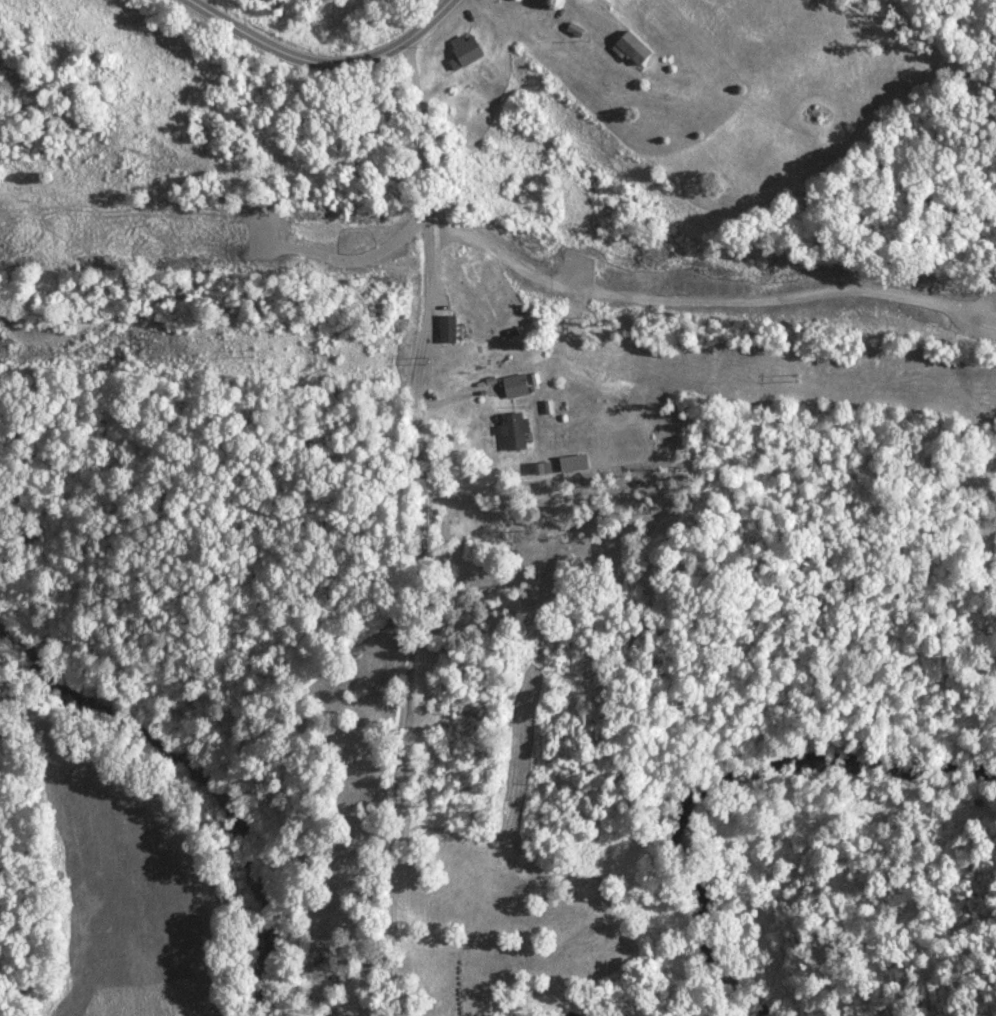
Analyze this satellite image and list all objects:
building: (633, 48)
building: (466, 49)
road: (325, 60)
building: (448, 329)
building: (515, 386)
building: (515, 431)
building: (573, 463)
road: (420, 530)
river: (824, 891)

